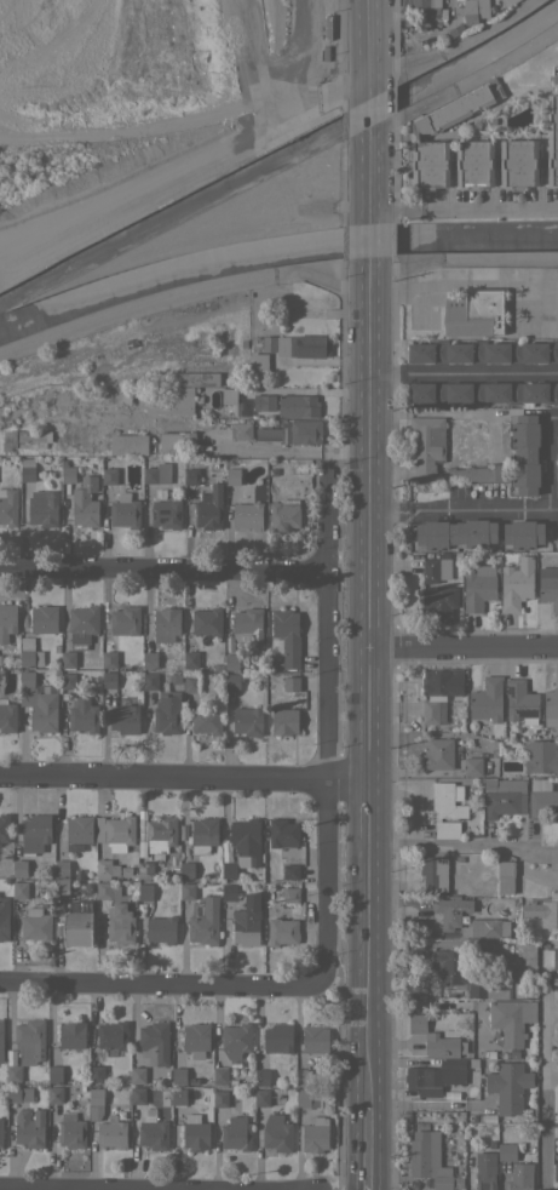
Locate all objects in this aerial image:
building: (425, 2)
building: (472, 10)
building: (444, 22)
building: (444, 32)
road: (363, 46)
quarry: (102, 73)
road: (364, 122)
building: (414, 135)
building: (552, 139)
building: (473, 162)
building: (518, 162)
road: (366, 188)
road: (461, 208)
road: (366, 246)
building: (474, 311)
building: (243, 343)
building: (292, 345)
building: (483, 351)
building: (258, 362)
road: (462, 370)
building: (192, 378)
building: (122, 393)
building: (483, 393)
building: (229, 395)
building: (165, 399)
building: (263, 401)
building: (298, 405)
building: (241, 430)
building: (298, 431)
building: (266, 435)
building: (24, 439)
building: (128, 444)
building: (177, 444)
building: (427, 445)
building: (524, 451)
road: (546, 454)
building: (300, 465)
building: (27, 469)
building: (156, 471)
building: (276, 471)
building: (474, 473)
building: (68, 474)
building: (109, 475)
building: (191, 475)
building: (232, 476)
building: (85, 503)
building: (7, 504)
building: (208, 508)
road: (462, 508)
building: (44, 510)
building: (123, 510)
building: (166, 513)
building: (283, 514)
building: (248, 515)
building: (557, 528)
building: (455, 533)
building: (522, 533)
building: (435, 570)
road: (162, 573)
building: (516, 583)
building: (477, 587)
building: (548, 587)
building: (439, 602)
building: (42, 618)
building: (7, 620)
building: (125, 620)
building: (206, 620)
building: (166, 623)
building: (81, 625)
building: (247, 627)
building: (286, 636)
building: (56, 648)
road: (465, 650)
building: (29, 652)
building: (68, 658)
building: (0, 659)
building: (109, 659)
building: (150, 659)
building: (190, 659)
building: (231, 662)
building: (174, 677)
building: (68, 680)
building: (108, 680)
building: (149, 680)
building: (231, 681)
building: (442, 681)
building: (191, 682)
building: (290, 683)
road: (373, 685)
building: (487, 699)
building: (38, 702)
building: (520, 702)
building: (551, 706)
building: (430, 711)
building: (167, 713)
building: (82, 715)
building: (7, 716)
building: (123, 716)
building: (206, 720)
building: (247, 720)
building: (284, 721)
road: (324, 722)
building: (437, 754)
building: (540, 756)
building: (472, 766)
road: (185, 778)
building: (504, 796)
building: (541, 797)
building: (445, 801)
building: (4, 828)
building: (182, 830)
building: (447, 830)
building: (35, 831)
building: (77, 831)
building: (119, 833)
building: (283, 833)
building: (161, 834)
building: (203, 834)
building: (242, 845)
road: (465, 846)
building: (458, 857)
building: (19, 868)
building: (105, 869)
building: (126, 869)
building: (144, 869)
building: (186, 870)
building: (290, 871)
building: (433, 873)
building: (505, 876)
building: (61, 879)
building: (79, 885)
building: (88, 886)
building: (17, 888)
building: (103, 889)
building: (186, 891)
building: (144, 892)
building: (228, 892)
building: (290, 894)
building: (132, 902)
building: (16, 903)
building: (142, 906)
building: (80, 908)
building: (543, 910)
building: (448, 911)
building: (465, 916)
building: (4, 919)
building: (203, 921)
building: (247, 921)
building: (120, 923)
building: (35, 925)
building: (487, 927)
building: (77, 928)
building: (160, 929)
building: (281, 931)
building: (527, 954)
building: (550, 957)
building: (464, 978)
road: (159, 986)
building: (431, 1015)
building: (511, 1019)
building: (71, 1035)
building: (111, 1035)
building: (277, 1037)
building: (315, 1037)
building: (437, 1039)
building: (196, 1040)
building: (235, 1040)
building: (1, 1041)
building: (154, 1042)
building: (27, 1047)
building: (10, 1055)
building: (54, 1072)
building: (97, 1074)
building: (219, 1074)
building: (137, 1075)
building: (178, 1075)
building: (435, 1076)
building: (261, 1077)
building: (303, 1077)
building: (194, 1082)
building: (508, 1087)
road: (543, 1089)
building: (18, 1093)
building: (54, 1094)
building: (151, 1094)
building: (137, 1095)
building: (178, 1095)
building: (96, 1097)
building: (219, 1098)
building: (261, 1098)
building: (309, 1099)
building: (133, 1111)
building: (92, 1112)
building: (472, 1115)
building: (52, 1119)
building: (416, 1125)
building: (29, 1128)
building: (70, 1131)
building: (153, 1131)
building: (195, 1132)
building: (1, 1133)
building: (236, 1133)
building: (277, 1133)
building: (111, 1134)
building: (315, 1134)
road: (373, 1145)
building: (445, 1151)
building: (430, 1161)
building: (514, 1167)
building: (484, 1171)
building: (556, 1171)
road: (96, 1188)

